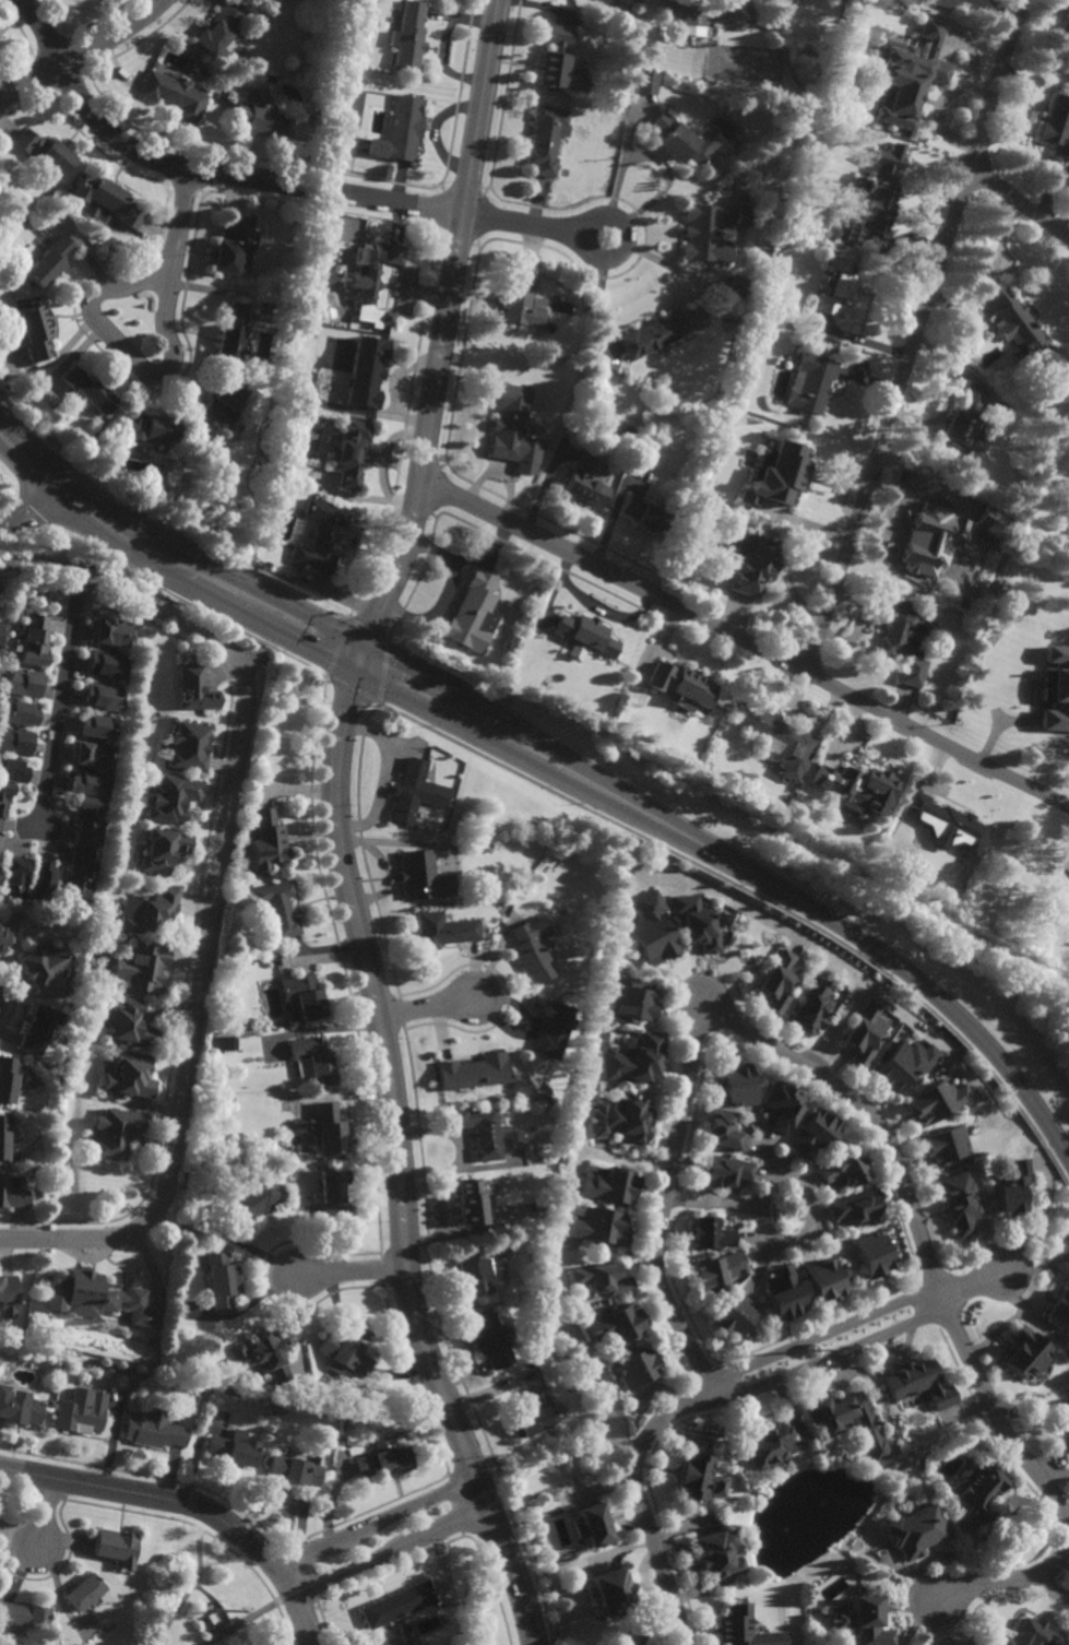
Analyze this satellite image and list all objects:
building: (939, 3)
building: (380, 4)
building: (777, 4)
building: (696, 10)
building: (1066, 23)
building: (219, 28)
building: (409, 36)
road: (83, 51)
building: (560, 62)
building: (903, 73)
building: (644, 82)
building: (173, 95)
road: (483, 107)
building: (850, 110)
road: (1025, 113)
building: (263, 119)
building: (1057, 127)
building: (401, 131)
building: (816, 134)
building: (546, 139)
building: (684, 141)
building: (45, 149)
road: (204, 171)
building: (107, 199)
building: (877, 201)
road: (1020, 204)
road: (177, 217)
road: (587, 222)
road: (523, 224)
building: (711, 230)
building: (229, 247)
building: (50, 260)
building: (370, 269)
building: (740, 287)
building: (839, 287)
building: (521, 299)
building: (388, 318)
building: (1019, 326)
building: (34, 332)
building: (233, 333)
building: (653, 334)
road: (915, 336)
road: (128, 354)
building: (368, 372)
building: (812, 383)
building: (91, 390)
building: (225, 401)
building: (731, 401)
building: (962, 422)
building: (509, 423)
building: (151, 429)
building: (352, 453)
building: (776, 477)
building: (584, 483)
building: (1068, 489)
road: (26, 506)
building: (646, 518)
building: (321, 536)
building: (931, 536)
building: (1066, 541)
road: (351, 549)
road: (40, 559)
road: (171, 560)
building: (751, 565)
building: (266, 566)
building: (0, 612)
building: (472, 614)
building: (0, 619)
building: (1012, 623)
building: (0, 626)
building: (109, 634)
building: (585, 636)
building: (32, 642)
road: (745, 642)
building: (904, 643)
road: (250, 660)
traffic signals: (361, 661)
building: (106, 665)
building: (22, 684)
building: (680, 688)
building: (1056, 688)
building: (194, 691)
building: (100, 698)
road: (60, 700)
building: (16, 715)
building: (96, 729)
building: (780, 741)
building: (14, 742)
building: (189, 749)
building: (91, 757)
building: (13, 768)
building: (87, 782)
building: (856, 785)
building: (416, 791)
building: (4, 796)
building: (170, 798)
building: (88, 819)
building: (943, 824)
building: (0, 839)
building: (268, 840)
building: (162, 849)
building: (242, 868)
road: (745, 869)
building: (16, 874)
building: (79, 875)
building: (423, 875)
building: (43, 878)
building: (242, 890)
building: (498, 904)
building: (278, 907)
building: (145, 910)
building: (729, 921)
building: (696, 922)
road: (210, 927)
building: (652, 931)
road: (358, 932)
building: (446, 932)
building: (3, 938)
road: (803, 938)
building: (531, 949)
building: (40, 966)
building: (142, 967)
building: (777, 981)
building: (304, 996)
building: (634, 1002)
road: (703, 1005)
road: (423, 1006)
building: (811, 1006)
building: (221, 1008)
building: (90, 1014)
building: (126, 1022)
building: (547, 1026)
building: (37, 1028)
building: (864, 1033)
building: (225, 1042)
road: (938, 1042)
building: (633, 1057)
building: (314, 1058)
building: (904, 1063)
building: (470, 1072)
building: (128, 1076)
building: (8, 1078)
building: (738, 1085)
building: (936, 1101)
building: (212, 1103)
building: (781, 1105)
building: (619, 1121)
building: (326, 1129)
building: (477, 1131)
building: (724, 1131)
building: (114, 1133)
building: (812, 1133)
building: (7, 1140)
building: (945, 1145)
building: (844, 1169)
building: (723, 1171)
building: (609, 1186)
road: (691, 1188)
building: (1014, 1188)
building: (12, 1195)
building: (333, 1195)
building: (252, 1202)
building: (959, 1203)
building: (466, 1204)
road: (688, 1204)
road: (736, 1206)
building: (534, 1208)
road: (809, 1208)
building: (856, 1208)
building: (599, 1228)
building: (710, 1234)
building: (876, 1255)
building: (473, 1271)
road: (351, 1273)
building: (716, 1273)
building: (843, 1273)
building: (601, 1279)
building: (823, 1281)
building: (222, 1282)
road: (973, 1285)
building: (785, 1294)
building: (8, 1295)
building: (93, 1298)
building: (1061, 1310)
building: (734, 1318)
building: (616, 1326)
road: (823, 1333)
building: (489, 1341)
building: (146, 1342)
power tower: (806, 1349)
road: (832, 1354)
building: (1028, 1354)
building: (342, 1356)
building: (259, 1357)
building: (637, 1369)
building: (919, 1384)
building: (48, 1404)
building: (19, 1409)
building: (80, 1411)
building: (1066, 1415)
building: (532, 1417)
building: (864, 1429)
building: (152, 1430)
building: (1066, 1442)
building: (768, 1446)
building: (233, 1449)
building: (989, 1456)
building: (381, 1461)
building: (293, 1472)
building: (692, 1479)
road: (1048, 1484)
building: (977, 1490)
road: (640, 1500)
road: (190, 1504)
road: (43, 1513)
building: (592, 1520)
road: (376, 1523)
building: (915, 1528)
building: (115, 1545)
building: (718, 1553)
road: (392, 1554)
road: (258, 1577)
building: (157, 1585)
building: (613, 1588)
road: (190, 1589)
building: (82, 1590)
building: (396, 1603)
building: (816, 1608)
power tower: (214, 1611)
building: (23, 1613)
road: (247, 1619)
building: (864, 1619)
building: (746, 1626)
building: (1028, 1634)
building: (371, 1643)
building: (633, 1644)

